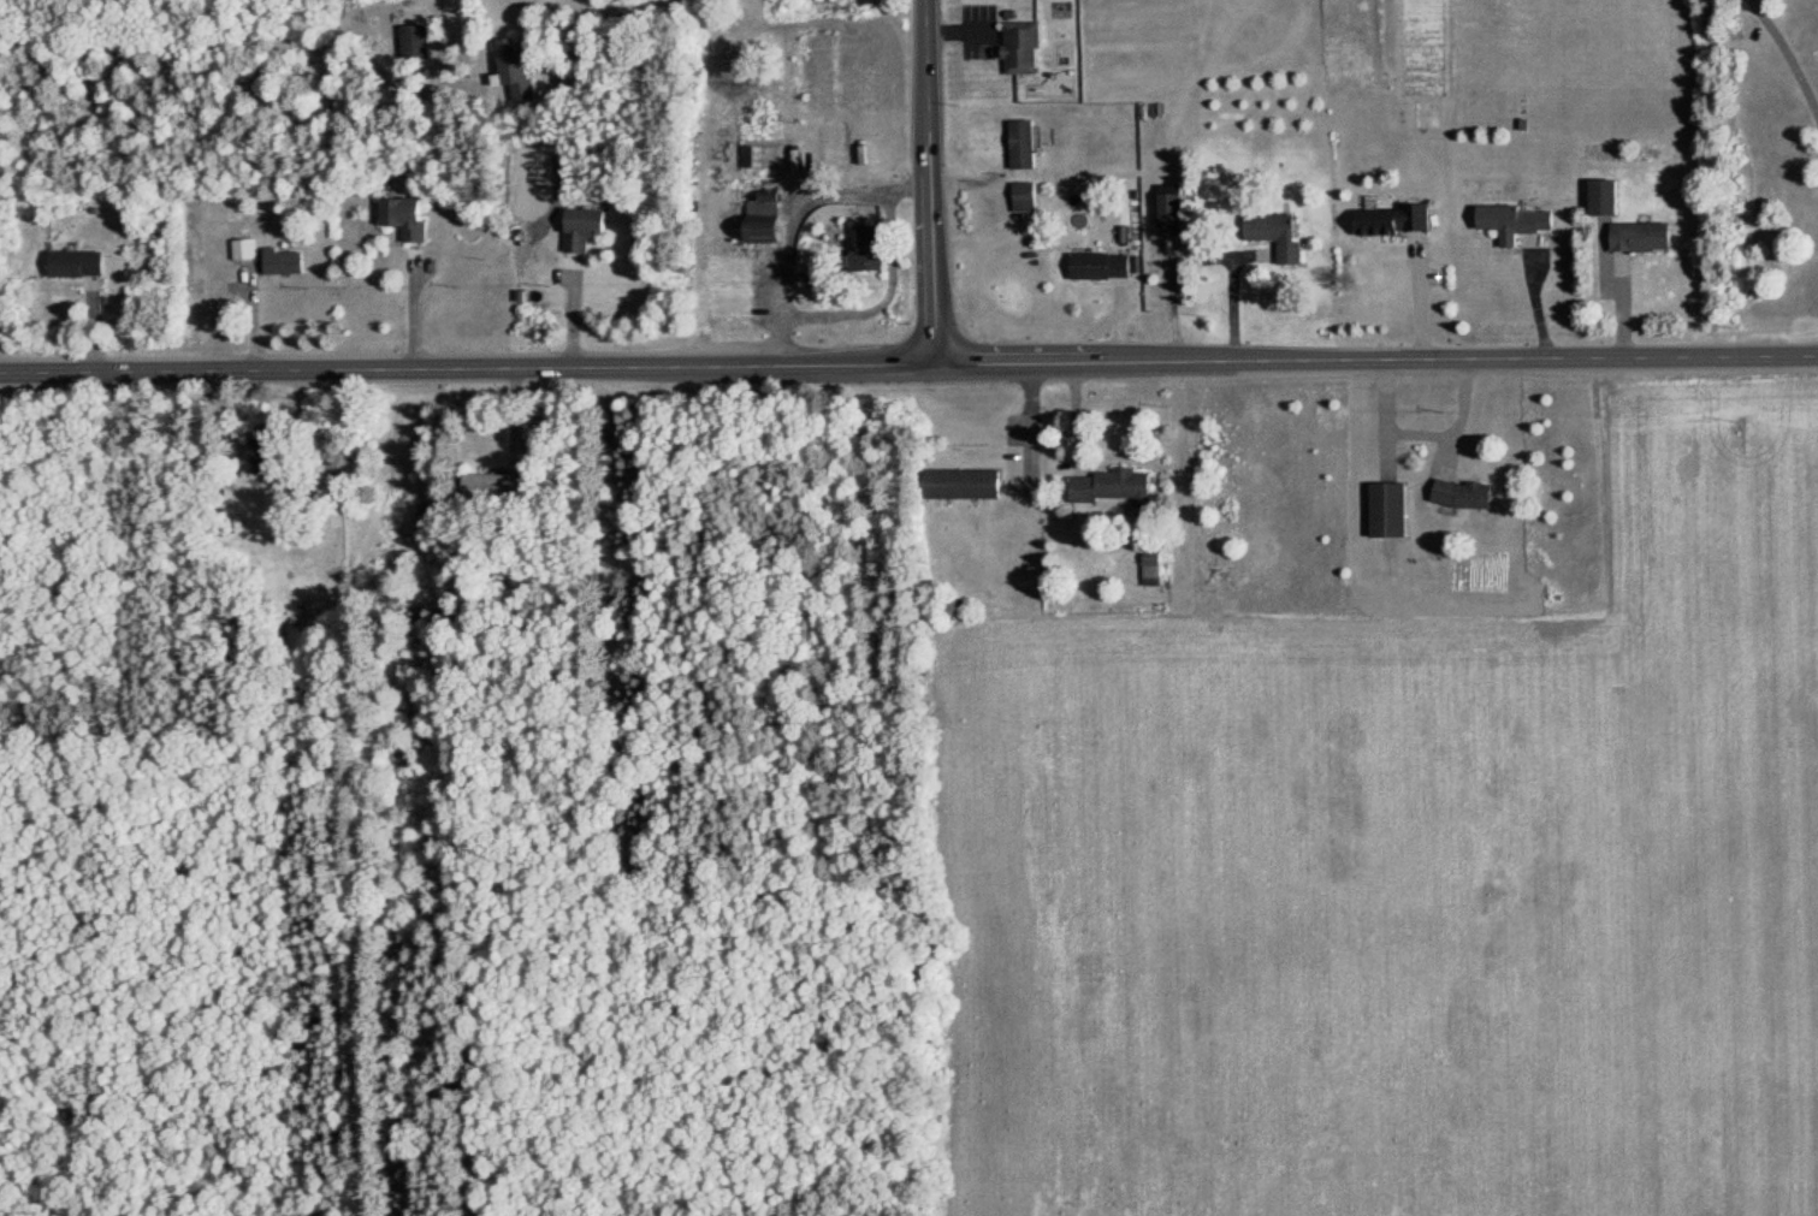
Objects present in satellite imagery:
road: (620, 6)
building: (420, 41)
building: (1019, 48)
road: (1788, 59)
building: (822, 77)
building: (1020, 146)
building: (834, 148)
road: (931, 183)
building: (1023, 198)
building: (1600, 198)
building: (1166, 215)
building: (409, 216)
building: (1390, 220)
road: (798, 223)
building: (1512, 223)
building: (590, 226)
building: (772, 233)
building: (1272, 237)
building: (1638, 238)
building: (249, 249)
building: (876, 250)
building: (286, 262)
building: (83, 263)
building: (1099, 267)
road: (1231, 295)
road: (1417, 299)
road: (413, 307)
road: (908, 367)
road: (1028, 429)
building: (964, 485)
building: (1112, 488)
building: (1459, 496)
building: (1386, 511)
building: (1150, 570)

